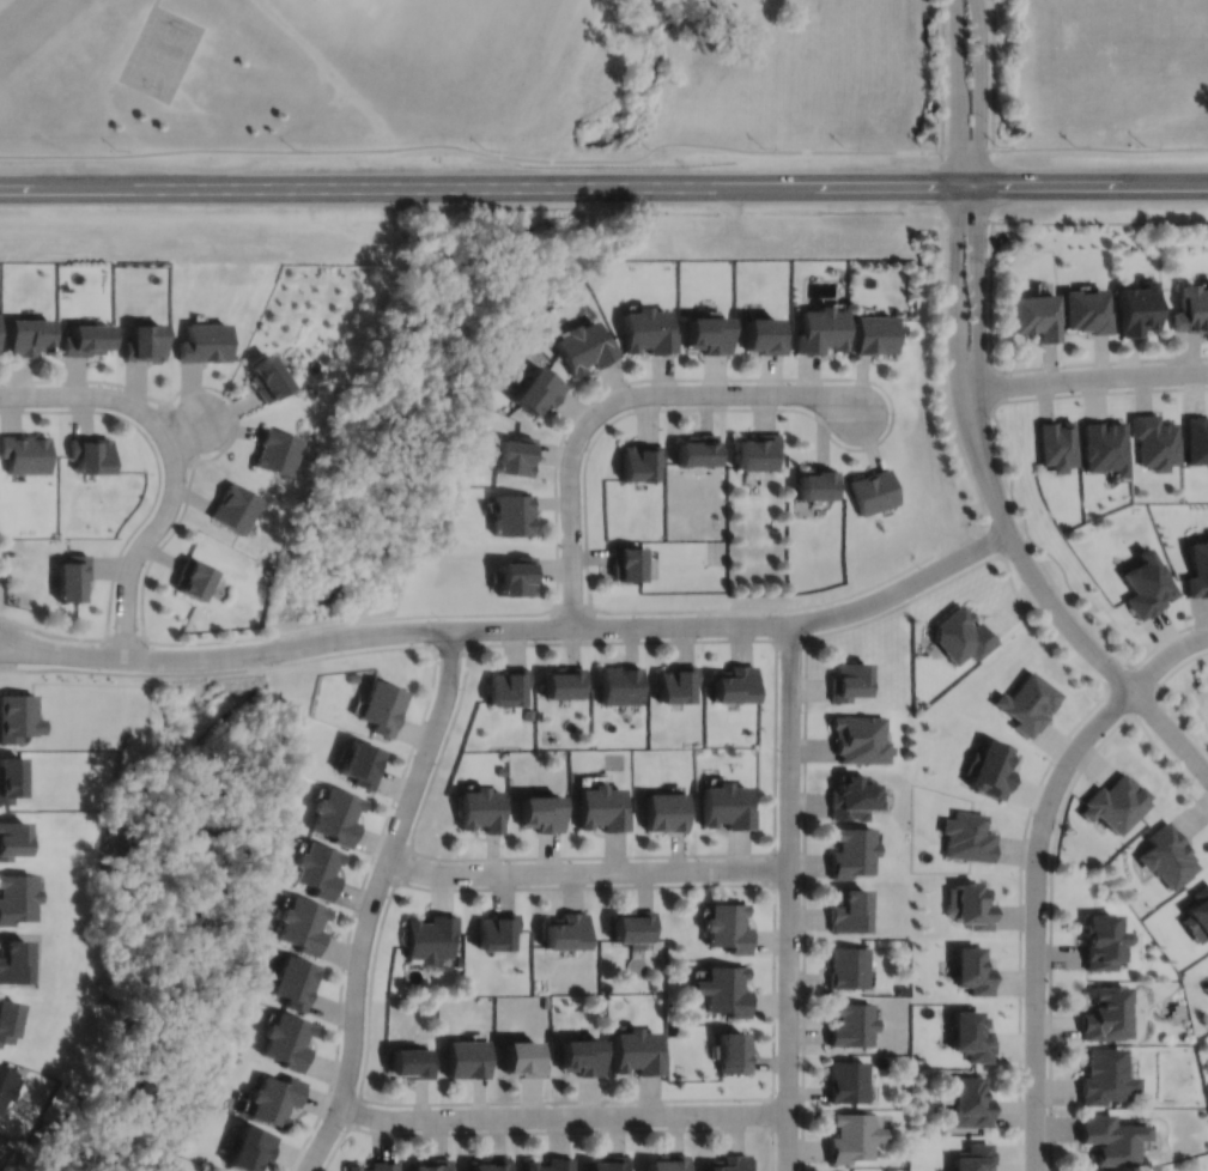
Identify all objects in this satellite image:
road: (156, 1)
park: (383, 5)
park: (377, 10)
park: (160, 53)
road: (942, 74)
road: (992, 74)
park: (469, 75)
park: (1100, 83)
road: (1100, 147)
road: (472, 150)
road: (966, 150)
road: (603, 186)
road: (1099, 222)
road: (979, 229)
road: (955, 231)
street lamp: (946, 260)
street lamp: (988, 265)
road: (991, 296)
building: (1137, 308)
building: (1086, 309)
building: (1191, 309)
building: (1036, 315)
building: (647, 329)
building: (820, 329)
building: (873, 333)
building: (705, 334)
building: (760, 335)
building: (29, 336)
building: (86, 339)
road: (1034, 341)
building: (145, 342)
building: (205, 342)
building: (585, 345)
road: (1100, 354)
road: (1049, 359)
road: (1099, 362)
street lamp: (1167, 362)
road: (1083, 377)
building: (267, 378)
street lamp: (733, 381)
street lamp: (629, 384)
street lamp: (111, 386)
building: (539, 387)
road: (994, 387)
street lamp: (1075, 389)
road: (1100, 390)
street lamp: (221, 395)
road: (105, 396)
road: (617, 401)
street lamp: (890, 412)
street lamp: (991, 418)
road: (181, 430)
street lamp: (151, 437)
building: (1155, 442)
building: (1058, 444)
building: (1106, 447)
road: (861, 448)
building: (275, 450)
building: (697, 450)
building: (754, 451)
building: (515, 453)
building: (25, 454)
building: (91, 455)
building: (642, 460)
building: (815, 484)
road: (187, 486)
building: (873, 491)
building: (235, 505)
building: (512, 512)
road: (145, 515)
road: (150, 534)
street lamp: (559, 541)
road: (1014, 544)
road: (1042, 548)
street lamp: (1009, 558)
building: (629, 562)
street lamp: (918, 566)
building: (1197, 570)
building: (516, 574)
building: (73, 575)
building: (190, 576)
building: (1147, 584)
road: (571, 607)
street lamp: (709, 613)
street lamp: (439, 618)
road: (548, 627)
street lamp: (1192, 629)
road: (1073, 631)
road: (125, 632)
street lamp: (809, 633)
building: (961, 633)
road: (1170, 636)
road: (1036, 637)
street lamp: (535, 639)
road: (791, 639)
road: (35, 643)
road: (18, 645)
street lamp: (148, 645)
road: (453, 650)
road: (35, 654)
road: (1165, 656)
street lamp: (266, 662)
street lamp: (1123, 663)
road: (1180, 663)
road: (1117, 674)
road: (1148, 674)
building: (353, 676)
building: (848, 679)
building: (565, 681)
building: (678, 681)
building: (734, 682)
building: (621, 684)
building: (509, 685)
street lamp: (460, 687)
road: (1190, 698)
building: (1027, 702)
road: (429, 703)
road: (1151, 703)
road: (1117, 704)
building: (382, 705)
street lamp: (802, 710)
building: (529, 714)
building: (18, 715)
building: (860, 738)
road: (1172, 762)
building: (360, 763)
street lamp: (1054, 763)
building: (990, 767)
building: (11, 776)
road: (433, 776)
street lamp: (1201, 785)
road: (805, 796)
building: (852, 796)
building: (1116, 802)
building: (727, 805)
street lamp: (395, 806)
building: (602, 807)
building: (481, 808)
building: (666, 809)
building: (542, 812)
building: (336, 814)
building: (966, 836)
building: (13, 837)
street lamp: (777, 849)
building: (851, 851)
building: (1168, 855)
street lamp: (698, 857)
street lamp: (510, 861)
road: (406, 863)
building: (317, 868)
street lamp: (1048, 869)
road: (588, 872)
street lamp: (599, 882)
street lamp: (393, 884)
building: (17, 897)
road: (789, 897)
road: (375, 899)
road: (773, 904)
building: (969, 905)
building: (848, 910)
road: (1036, 915)
building: (1198, 915)
road: (1021, 918)
building: (302, 924)
building: (729, 927)
building: (636, 928)
building: (497, 930)
building: (567, 930)
road: (1050, 932)
building: (430, 936)
street lamp: (801, 938)
building: (1101, 941)
building: (13, 960)
building: (459, 960)
building: (846, 966)
building: (972, 970)
street lamp: (346, 972)
building: (293, 982)
building: (727, 989)
street lamp: (1024, 1002)
road: (370, 1005)
building: (1178, 1008)
building: (1106, 1014)
building: (7, 1020)
building: (851, 1025)
building: (971, 1036)
building: (287, 1040)
building: (638, 1051)
building: (735, 1052)
building: (583, 1056)
building: (468, 1058)
building: (524, 1060)
building: (412, 1063)
building: (1104, 1078)
building: (846, 1082)
building: (5, 1084)
street lamp: (776, 1092)
building: (274, 1099)
building: (971, 1103)
street lamp: (553, 1104)
street lamp: (1048, 1106)
road: (357, 1111)
road: (563, 1116)
street lamp: (696, 1126)
street lamp: (344, 1128)
street lamp: (459, 1129)
road: (535, 1131)
building: (851, 1137)
building: (1111, 1140)
building: (253, 1149)
building: (973, 1158)
building: (670, 1163)
building: (729, 1163)
building: (611, 1164)
building: (432, 1165)
building: (492, 1165)
building: (552, 1165)
building: (376, 1166)

